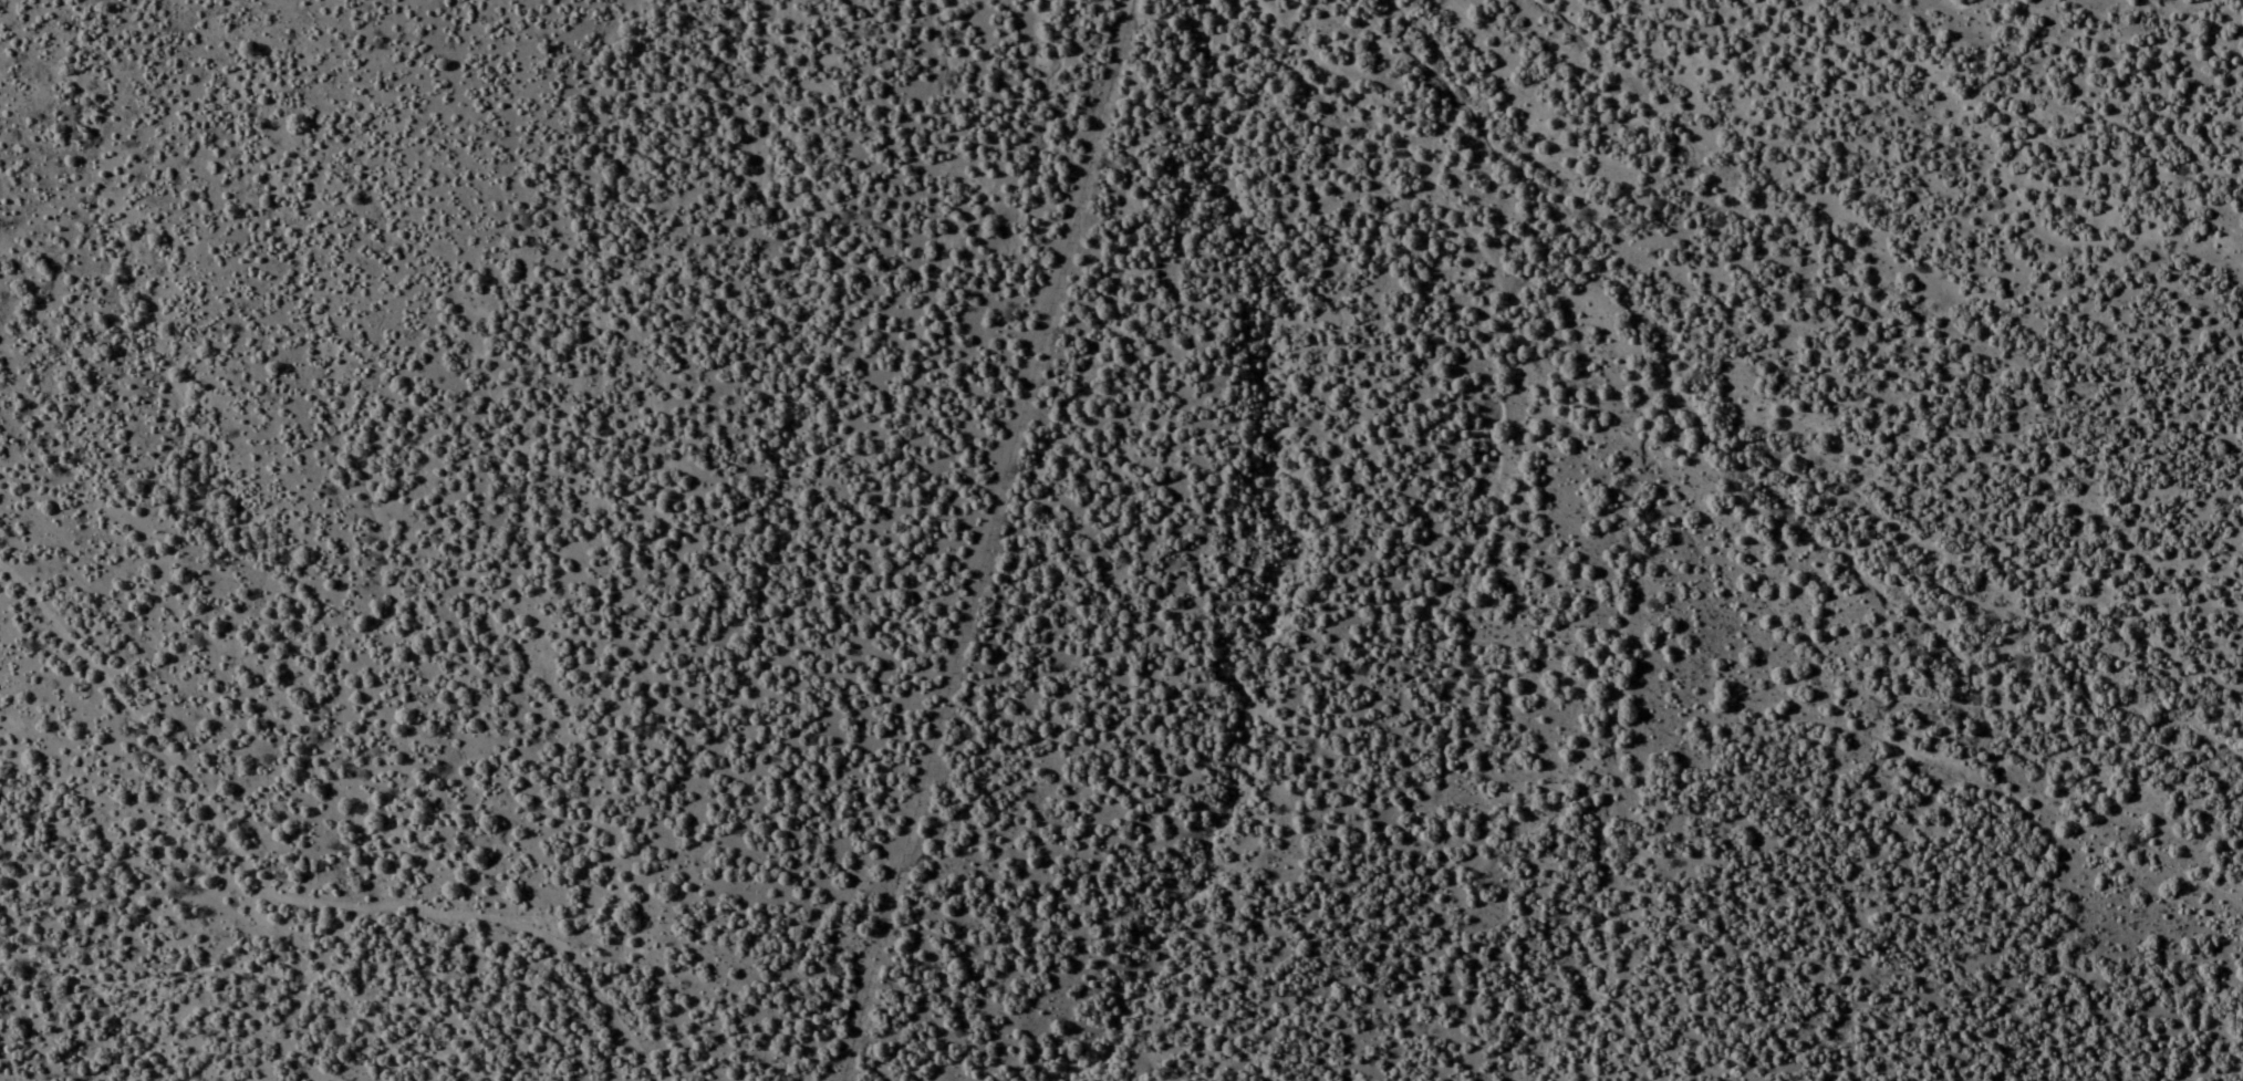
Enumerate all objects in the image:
road: (993, 540)

